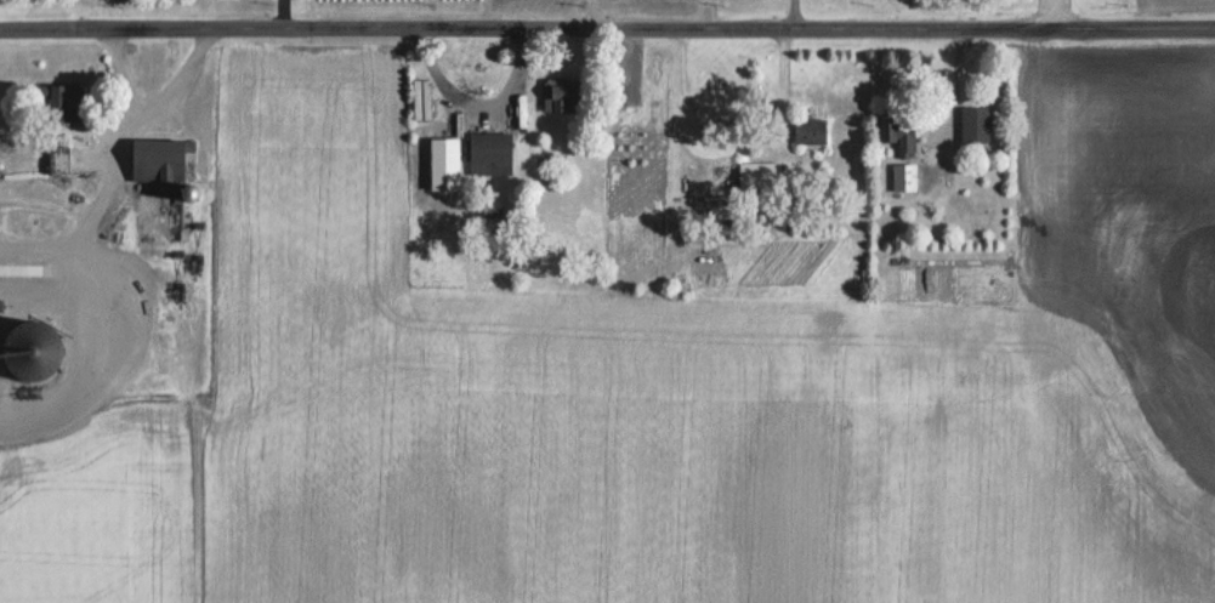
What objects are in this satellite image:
road: (793, 15)
road: (1056, 15)
road: (594, 16)
road: (708, 16)
road: (607, 32)
road: (148, 112)
building: (976, 125)
building: (811, 131)
building: (901, 136)
building: (490, 153)
building: (161, 159)
building: (59, 160)
building: (445, 164)
building: (760, 175)
building: (904, 177)
road: (92, 216)
building: (35, 349)

